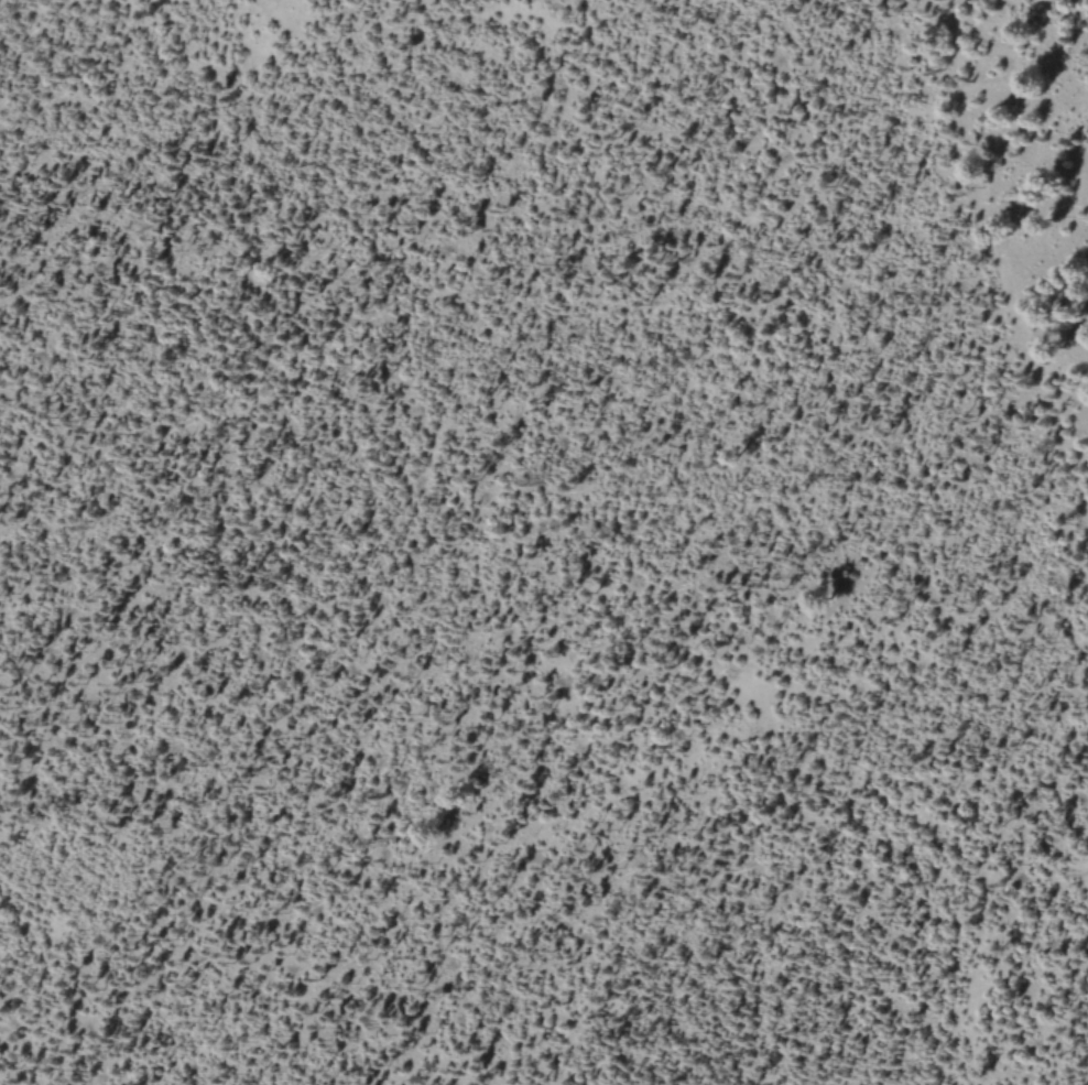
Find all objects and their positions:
road: (1001, 279)

